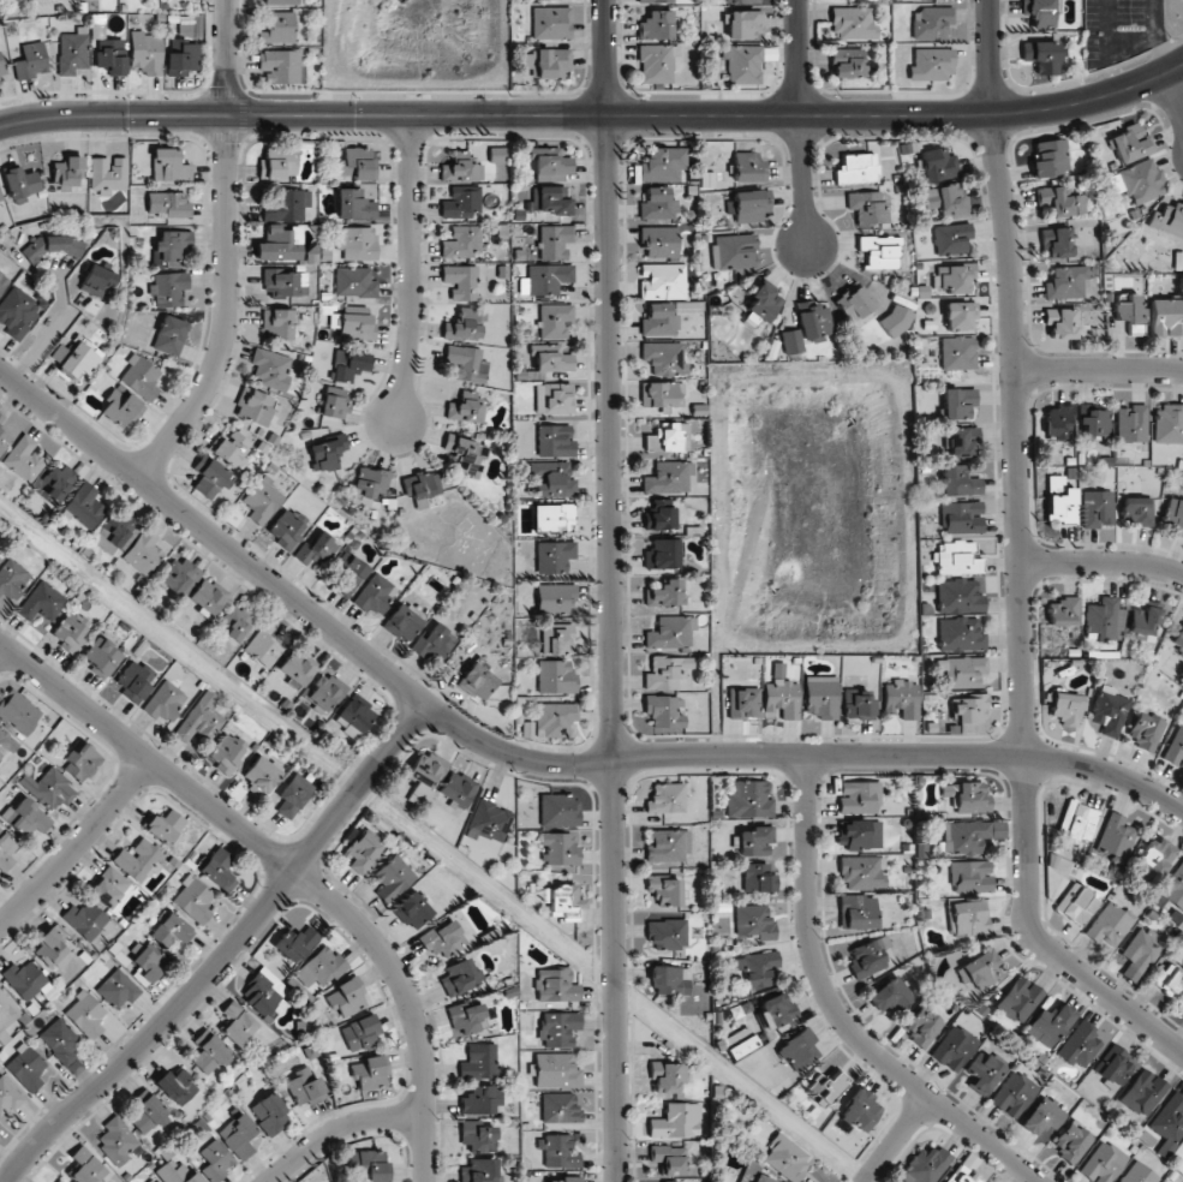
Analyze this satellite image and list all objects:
building: (11, 0)
building: (740, 0)
building: (656, 1)
building: (281, 2)
building: (1040, 12)
building: (551, 23)
building: (853, 23)
building: (931, 23)
building: (745, 24)
building: (190, 25)
building: (656, 25)
building: (279, 29)
building: (73, 53)
building: (147, 53)
building: (112, 55)
building: (1042, 56)
building: (181, 58)
building: (31, 60)
building: (657, 62)
building: (848, 62)
building: (546, 64)
building: (742, 64)
building: (932, 64)
building: (282, 65)
building: (2, 71)
road: (1172, 97)
road: (595, 115)
road: (799, 121)
building: (1130, 143)
building: (496, 155)
building: (1048, 157)
building: (357, 163)
building: (551, 163)
building: (276, 165)
building: (663, 165)
building: (169, 166)
building: (460, 167)
building: (748, 167)
building: (855, 168)
building: (67, 172)
building: (108, 173)
building: (1137, 181)
building: (550, 199)
building: (945, 199)
building: (1060, 201)
building: (1, 202)
building: (461, 202)
building: (169, 204)
building: (285, 204)
building: (354, 204)
building: (658, 204)
building: (749, 205)
building: (867, 208)
building: (1169, 220)
building: (952, 239)
building: (555, 241)
building: (661, 241)
building: (357, 243)
building: (462, 243)
building: (1057, 243)
building: (279, 244)
building: (171, 246)
road: (226, 251)
building: (879, 251)
building: (734, 252)
road: (411, 268)
building: (548, 277)
building: (954, 277)
building: (4, 281)
building: (97, 281)
building: (461, 281)
building: (663, 281)
building: (354, 282)
building: (1067, 282)
building: (285, 283)
building: (168, 288)
building: (764, 302)
building: (853, 304)
building: (18, 311)
building: (1128, 311)
building: (960, 316)
building: (1165, 317)
building: (895, 320)
building: (555, 321)
building: (659, 321)
building: (813, 321)
building: (277, 323)
building: (357, 323)
building: (1062, 323)
building: (464, 326)
road: (47, 332)
building: (171, 335)
building: (790, 341)
building: (59, 353)
building: (957, 353)
building: (664, 358)
building: (80, 359)
building: (551, 359)
building: (466, 363)
building: (351, 365)
building: (270, 368)
road: (1098, 369)
building: (141, 377)
building: (662, 394)
building: (554, 398)
building: (334, 401)
building: (958, 402)
building: (253, 406)
building: (466, 407)
building: (120, 408)
building: (1, 418)
building: (1058, 423)
building: (1092, 424)
building: (1131, 424)
building: (1167, 424)
building: (668, 437)
building: (4, 438)
building: (555, 441)
building: (961, 442)
building: (231, 448)
building: (327, 453)
building: (467, 454)
building: (24, 459)
building: (209, 477)
building: (668, 477)
building: (552, 478)
building: (960, 480)
building: (55, 482)
building: (422, 484)
building: (369, 488)
building: (262, 501)
building: (85, 506)
building: (1062, 507)
building: (1097, 508)
building: (1136, 511)
building: (1173, 515)
building: (551, 518)
building: (661, 518)
building: (961, 518)
building: (286, 527)
building: (115, 531)
building: (315, 550)
building: (143, 553)
building: (662, 554)
building: (554, 556)
building: (958, 557)
road: (1020, 561)
road: (1103, 563)
building: (179, 575)
building: (348, 575)
building: (12, 579)
road: (610, 590)
building: (665, 593)
building: (376, 595)
building: (208, 596)
building: (960, 596)
building: (555, 599)
building: (42, 602)
building: (1064, 611)
building: (1145, 619)
building: (1104, 620)
building: (240, 621)
building: (402, 622)
building: (70, 632)
building: (670, 632)
building: (961, 634)
building: (556, 639)
building: (434, 641)
building: (1178, 641)
building: (263, 646)
road: (2, 650)
building: (101, 656)
building: (297, 668)
building: (966, 671)
building: (667, 673)
building: (556, 676)
building: (135, 680)
building: (478, 681)
building: (324, 694)
building: (781, 696)
building: (820, 697)
building: (902, 699)
building: (165, 702)
building: (743, 703)
building: (858, 704)
building: (1068, 708)
building: (970, 709)
building: (18, 711)
building: (664, 711)
building: (1109, 711)
building: (357, 712)
building: (554, 718)
building: (199, 720)
building: (1145, 730)
building: (5, 744)
building: (1175, 748)
building: (227, 753)
road: (531, 760)
building: (82, 762)
building: (262, 775)
building: (425, 776)
building: (456, 788)
building: (49, 789)
building: (293, 795)
building: (967, 796)
building: (859, 798)
building: (667, 799)
building: (748, 799)
building: (558, 810)
building: (26, 816)
building: (1077, 820)
building: (489, 822)
building: (165, 826)
building: (860, 835)
building: (970, 836)
building: (1116, 836)
building: (754, 841)
road: (77, 846)
building: (558, 849)
building: (6, 850)
building: (360, 853)
building: (1157, 854)
building: (138, 859)
road: (288, 867)
building: (219, 870)
building: (860, 872)
building: (758, 877)
building: (970, 877)
building: (393, 878)
building: (108, 886)
building: (1175, 888)
building: (665, 890)
building: (193, 900)
building: (564, 902)
building: (1077, 903)
building: (412, 911)
building: (859, 912)
building: (968, 917)
building: (85, 920)
building: (754, 921)
building: (1110, 925)
building: (171, 932)
building: (668, 933)
building: (443, 938)
building: (295, 944)
building: (52, 949)
road: (228, 953)
building: (1140, 953)
building: (867, 959)
building: (148, 962)
building: (319, 967)
building: (758, 967)
building: (980, 971)
building: (460, 977)
building: (24, 979)
building: (1167, 979)
building: (665, 980)
building: (556, 985)
building: (118, 989)
building: (264, 993)
building: (890, 995)
building: (346, 998)
building: (1020, 999)
building: (1181, 1002)
building: (5, 1004)
building: (778, 1010)
road: (838, 1013)
building: (85, 1014)
building: (467, 1017)
building: (1050, 1025)
building: (922, 1026)
building: (239, 1027)
building: (558, 1028)
building: (359, 1033)
building: (60, 1040)
building: (740, 1043)
building: (1080, 1045)
building: (955, 1047)
building: (799, 1051)
building: (209, 1052)
building: (479, 1062)
building: (25, 1067)
building: (1112, 1067)
building: (556, 1070)
building: (371, 1073)
building: (984, 1073)
building: (667, 1076)
building: (177, 1086)
building: (304, 1086)
building: (827, 1086)
building: (1143, 1092)
building: (1014, 1094)
building: (8, 1096)
building: (479, 1100)
building: (561, 1108)
building: (861, 1111)
building: (270, 1114)
building: (147, 1115)
building: (1042, 1116)
building: (1169, 1121)
building: (677, 1122)
road: (340, 1130)
building: (238, 1135)
building: (477, 1138)
road: (895, 1139)
building: (116, 1141)
building: (1071, 1141)
building: (561, 1151)
building: (785, 1158)
building: (669, 1159)
building: (215, 1160)
building: (1103, 1163)
building: (926, 1165)
building: (86, 1166)
building: (369, 1166)
building: (479, 1171)
building: (752, 1172)
building: (177, 1174)
building: (1140, 1174)
building: (962, 1175)
building: (564, 1180)
building: (56, 1181)

